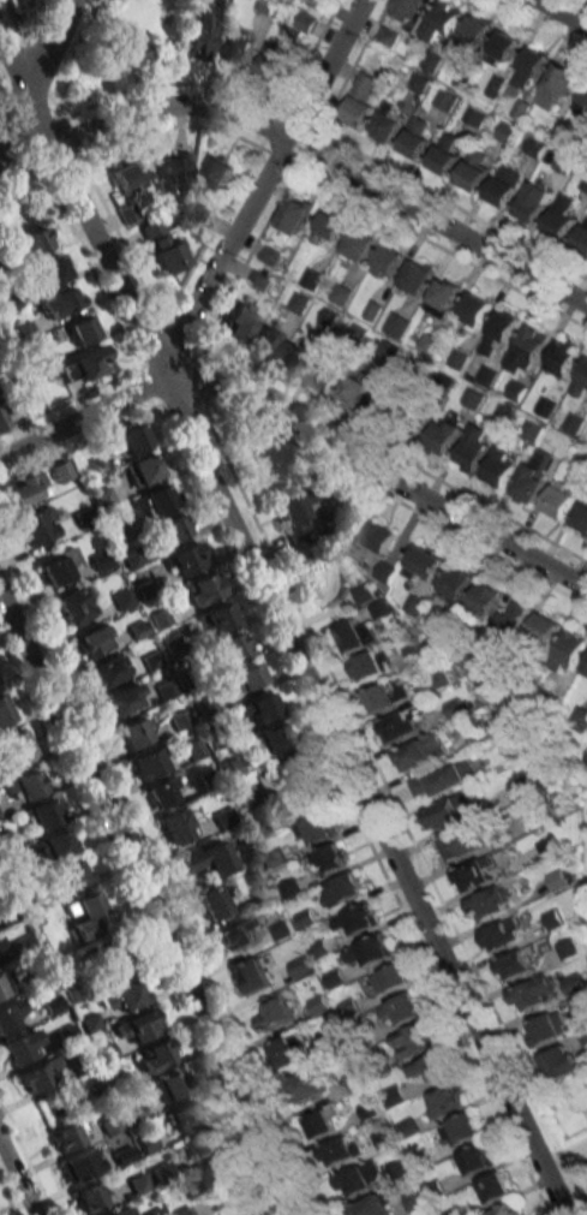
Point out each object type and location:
building: (408, 10)
road: (562, 13)
building: (306, 20)
building: (441, 24)
building: (477, 31)
building: (197, 35)
road: (46, 46)
building: (504, 46)
building: (238, 47)
building: (116, 53)
building: (277, 64)
road: (12, 66)
building: (528, 70)
building: (556, 87)
building: (363, 97)
building: (445, 99)
road: (12, 115)
building: (474, 115)
building: (387, 124)
building: (415, 138)
building: (444, 155)
road: (328, 163)
building: (564, 163)
building: (170, 171)
building: (473, 171)
building: (216, 172)
building: (127, 177)
building: (585, 183)
building: (504, 185)
building: (534, 202)
building: (294, 214)
building: (562, 218)
building: (329, 228)
building: (582, 238)
building: (29, 244)
building: (358, 245)
building: (163, 248)
building: (269, 255)
building: (387, 261)
road: (218, 268)
building: (52, 270)
building: (417, 276)
building: (311, 278)
building: (259, 280)
building: (341, 294)
building: (443, 296)
building: (8, 300)
building: (299, 302)
building: (59, 303)
building: (474, 310)
building: (239, 321)
building: (396, 324)
building: (80, 329)
building: (23, 332)
building: (499, 333)
building: (269, 338)
building: (523, 347)
building: (557, 357)
building: (297, 358)
building: (90, 362)
building: (325, 376)
building: (580, 380)
building: (354, 389)
road: (239, 399)
building: (401, 410)
building: (2, 418)
building: (532, 430)
building: (444, 434)
building: (126, 441)
building: (474, 448)
building: (502, 466)
building: (142, 469)
building: (535, 472)
building: (24, 489)
building: (559, 499)
building: (154, 500)
building: (295, 511)
building: (581, 517)
building: (36, 525)
building: (173, 529)
building: (375, 541)
building: (186, 559)
building: (423, 565)
building: (56, 566)
building: (329, 586)
building: (453, 588)
building: (202, 589)
building: (122, 598)
building: (484, 600)
building: (74, 604)
building: (217, 619)
building: (513, 621)
building: (543, 632)
building: (355, 635)
building: (94, 641)
building: (232, 648)
building: (569, 651)
building: (371, 663)
building: (585, 668)
building: (109, 669)
building: (241, 679)
building: (387, 695)
building: (122, 698)
building: (259, 708)
building: (4, 710)
building: (579, 719)
building: (403, 722)
building: (133, 732)
building: (272, 738)
building: (18, 746)
building: (419, 751)
building: (148, 763)
building: (289, 768)
building: (443, 779)
building: (25, 785)
building: (521, 787)
building: (163, 792)
road: (366, 792)
building: (297, 802)
building: (443, 812)
building: (41, 814)
building: (176, 826)
building: (316, 829)
building: (459, 844)
building: (53, 845)
building: (208, 858)
building: (331, 859)
building: (473, 874)
building: (71, 875)
building: (342, 889)
road: (150, 900)
building: (215, 900)
building: (491, 901)
building: (88, 916)
building: (358, 918)
building: (239, 933)
building: (501, 934)
building: (370, 949)
building: (109, 960)
building: (513, 964)
building: (251, 976)
building: (389, 978)
building: (6, 982)
building: (571, 982)
building: (533, 993)
building: (125, 996)
building: (401, 1008)
building: (274, 1012)
building: (10, 1014)
building: (138, 1026)
building: (546, 1028)
building: (413, 1040)
building: (22, 1047)
building: (288, 1052)
building: (154, 1056)
building: (559, 1061)
building: (431, 1066)
building: (38, 1076)
building: (170, 1085)
building: (307, 1085)
building: (444, 1100)
building: (182, 1116)
building: (322, 1122)
building: (460, 1128)
building: (68, 1134)
building: (200, 1144)
building: (340, 1150)
building: (474, 1160)
building: (78, 1166)
building: (209, 1178)
road: (16, 1179)
building: (359, 1179)
building: (493, 1187)
building: (88, 1197)
building: (372, 1205)
building: (505, 1210)
building: (120, 1211)
building: (248, 1214)

